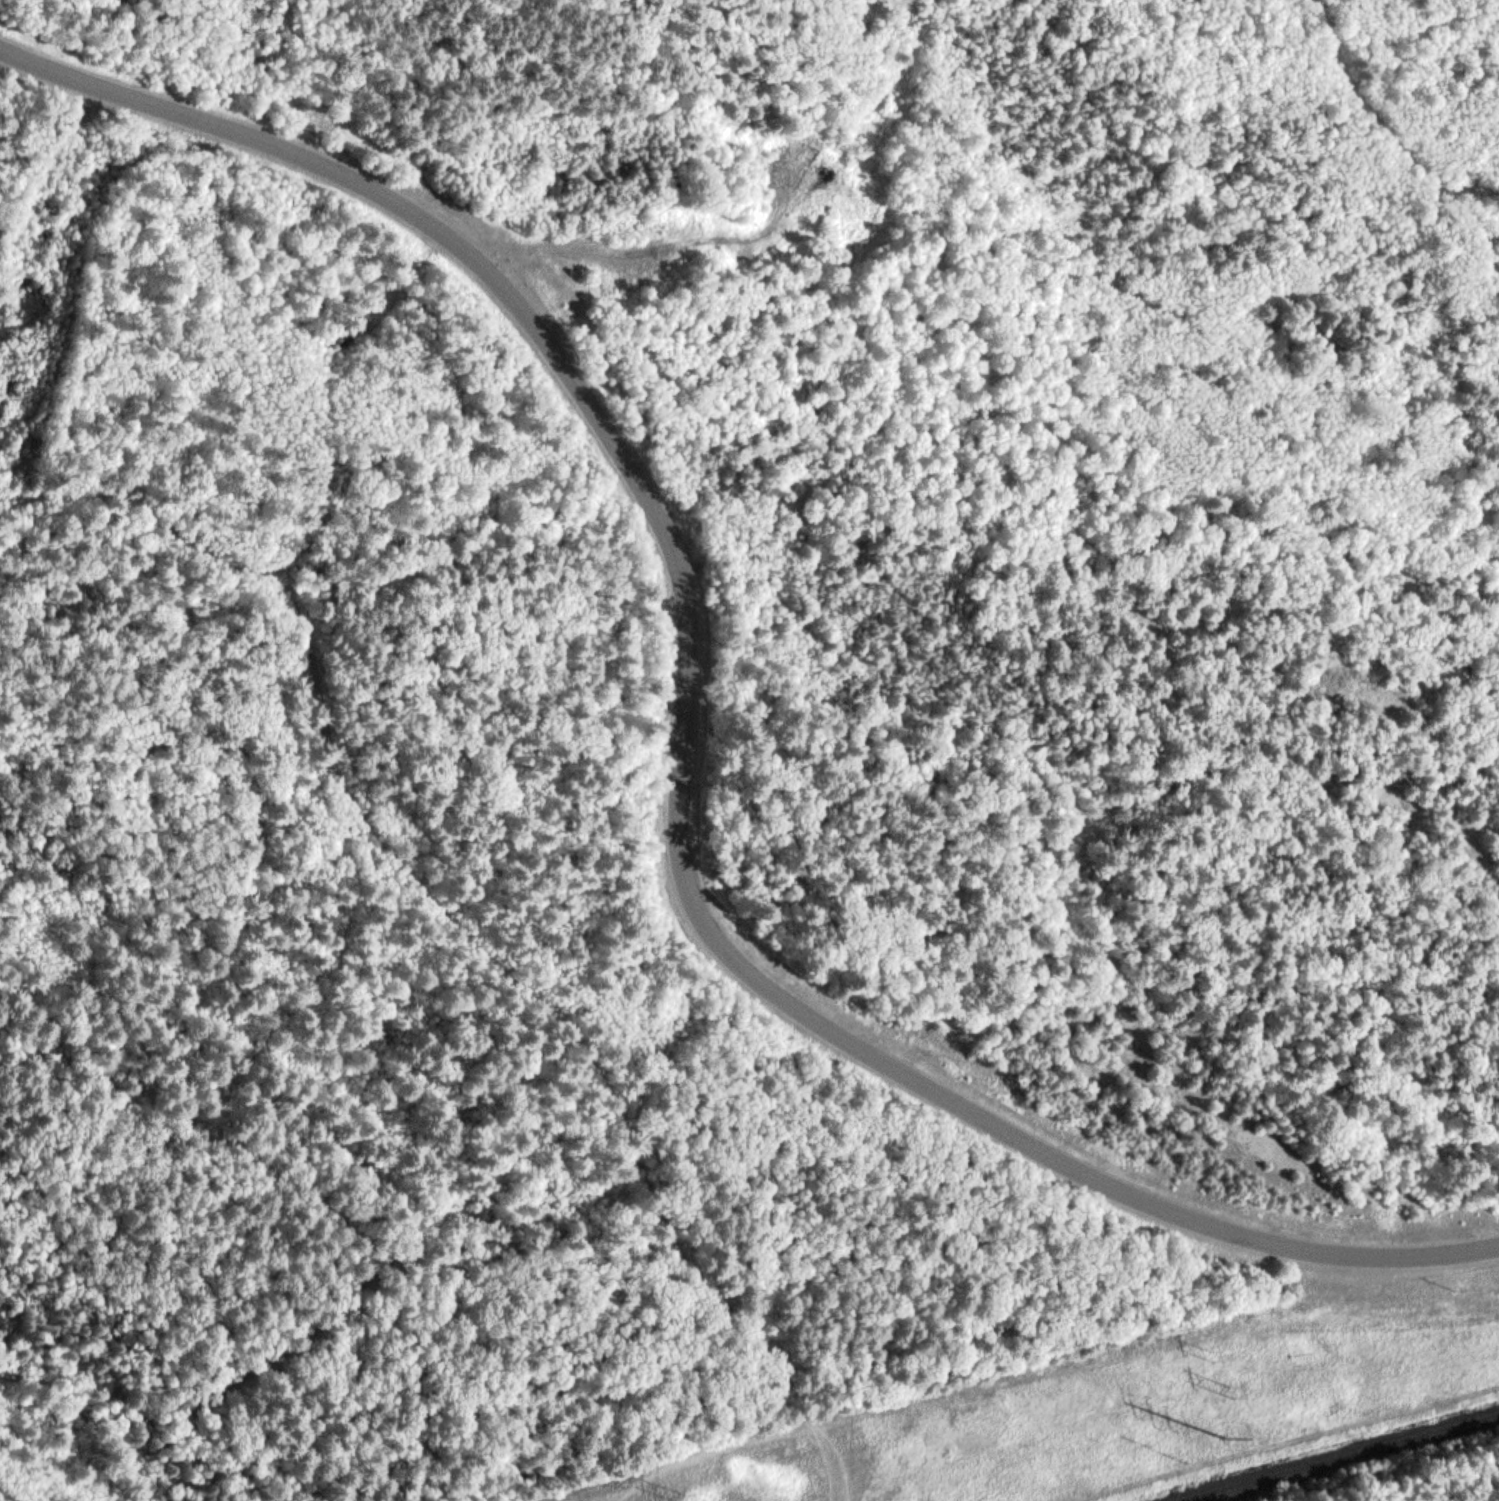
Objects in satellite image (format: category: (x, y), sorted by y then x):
road: (687, 743)
road: (203, 1172)
power tower: (1457, 1290)
power tower: (1220, 1352)
road: (628, 1371)
power tower: (1236, 1390)
road: (199, 1401)
power tower: (1229, 1437)
railway: (1335, 1457)
road: (1465, 1491)
power tower: (688, 1497)

